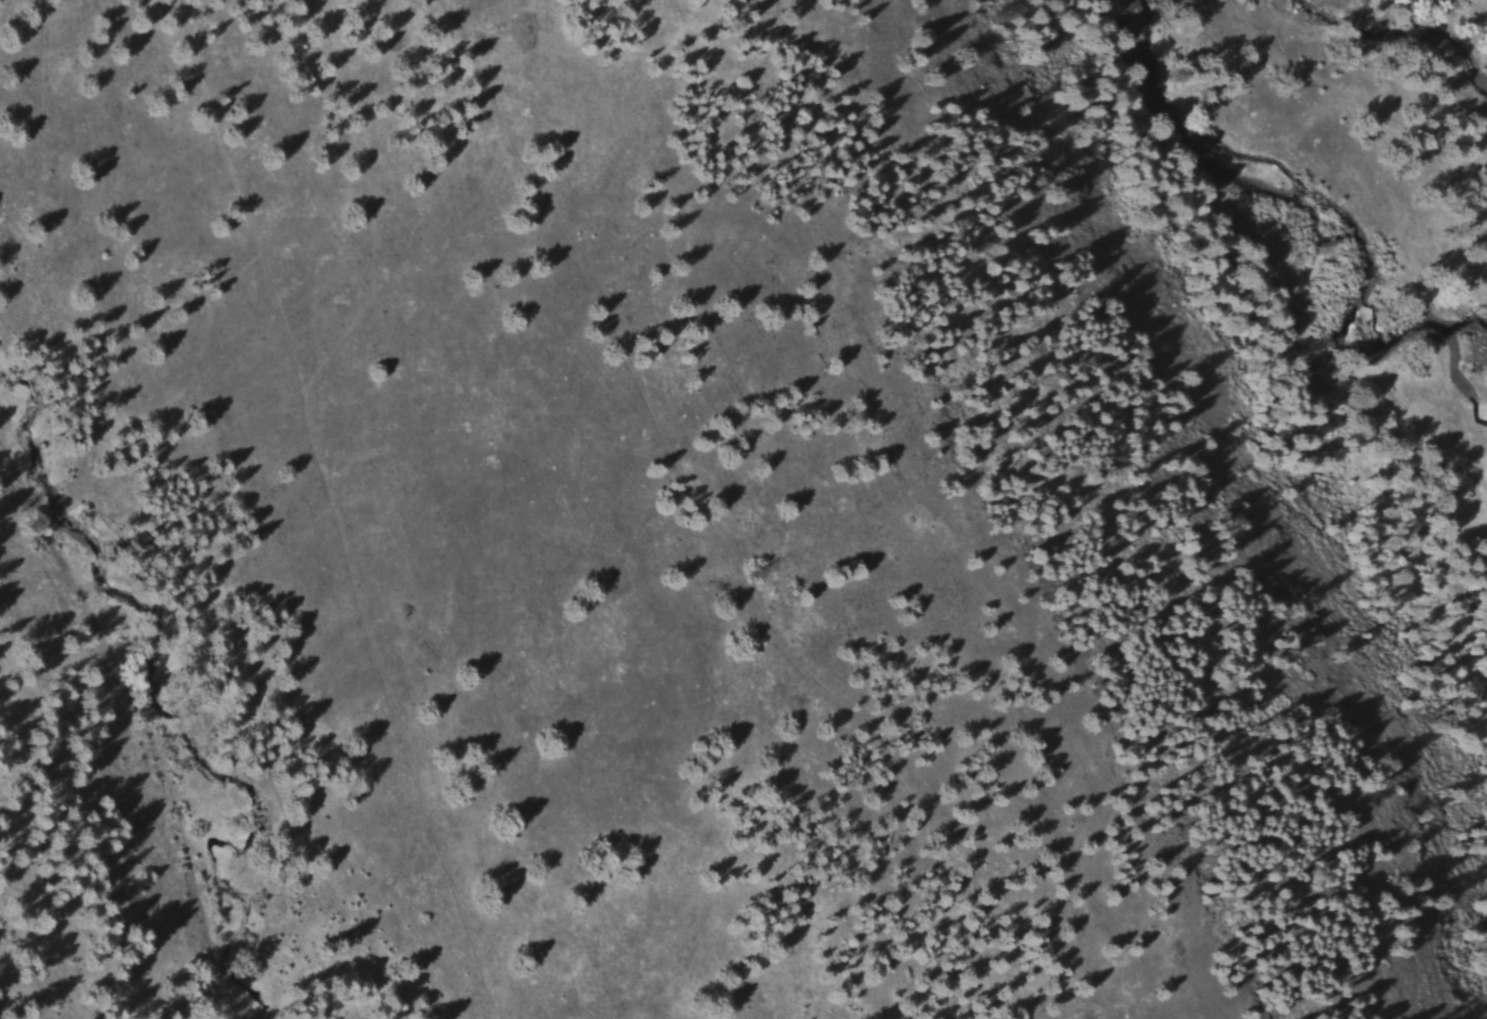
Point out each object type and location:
road: (1323, 121)

